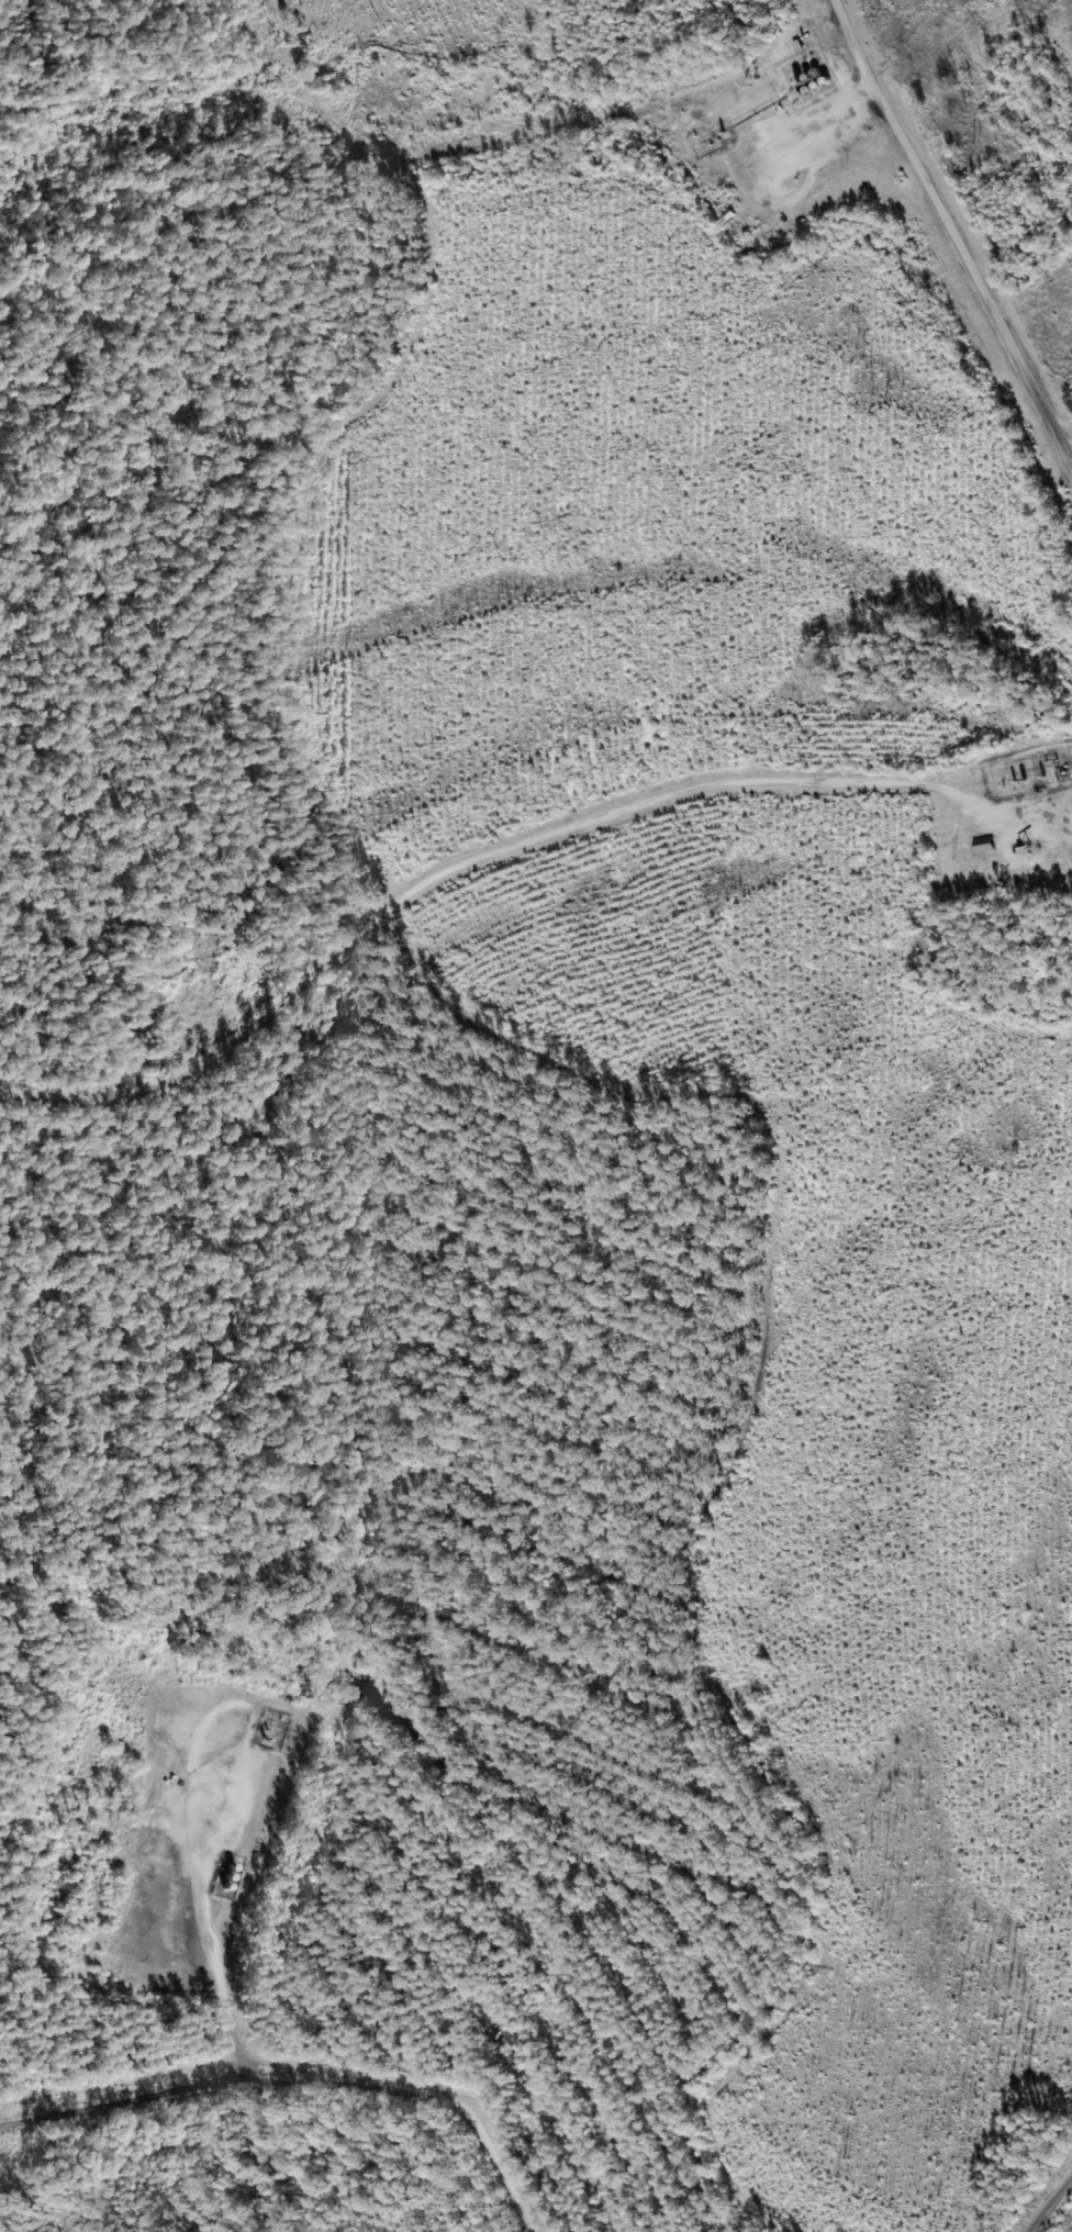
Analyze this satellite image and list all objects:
road: (959, 267)
road: (501, 824)
building: (984, 842)

